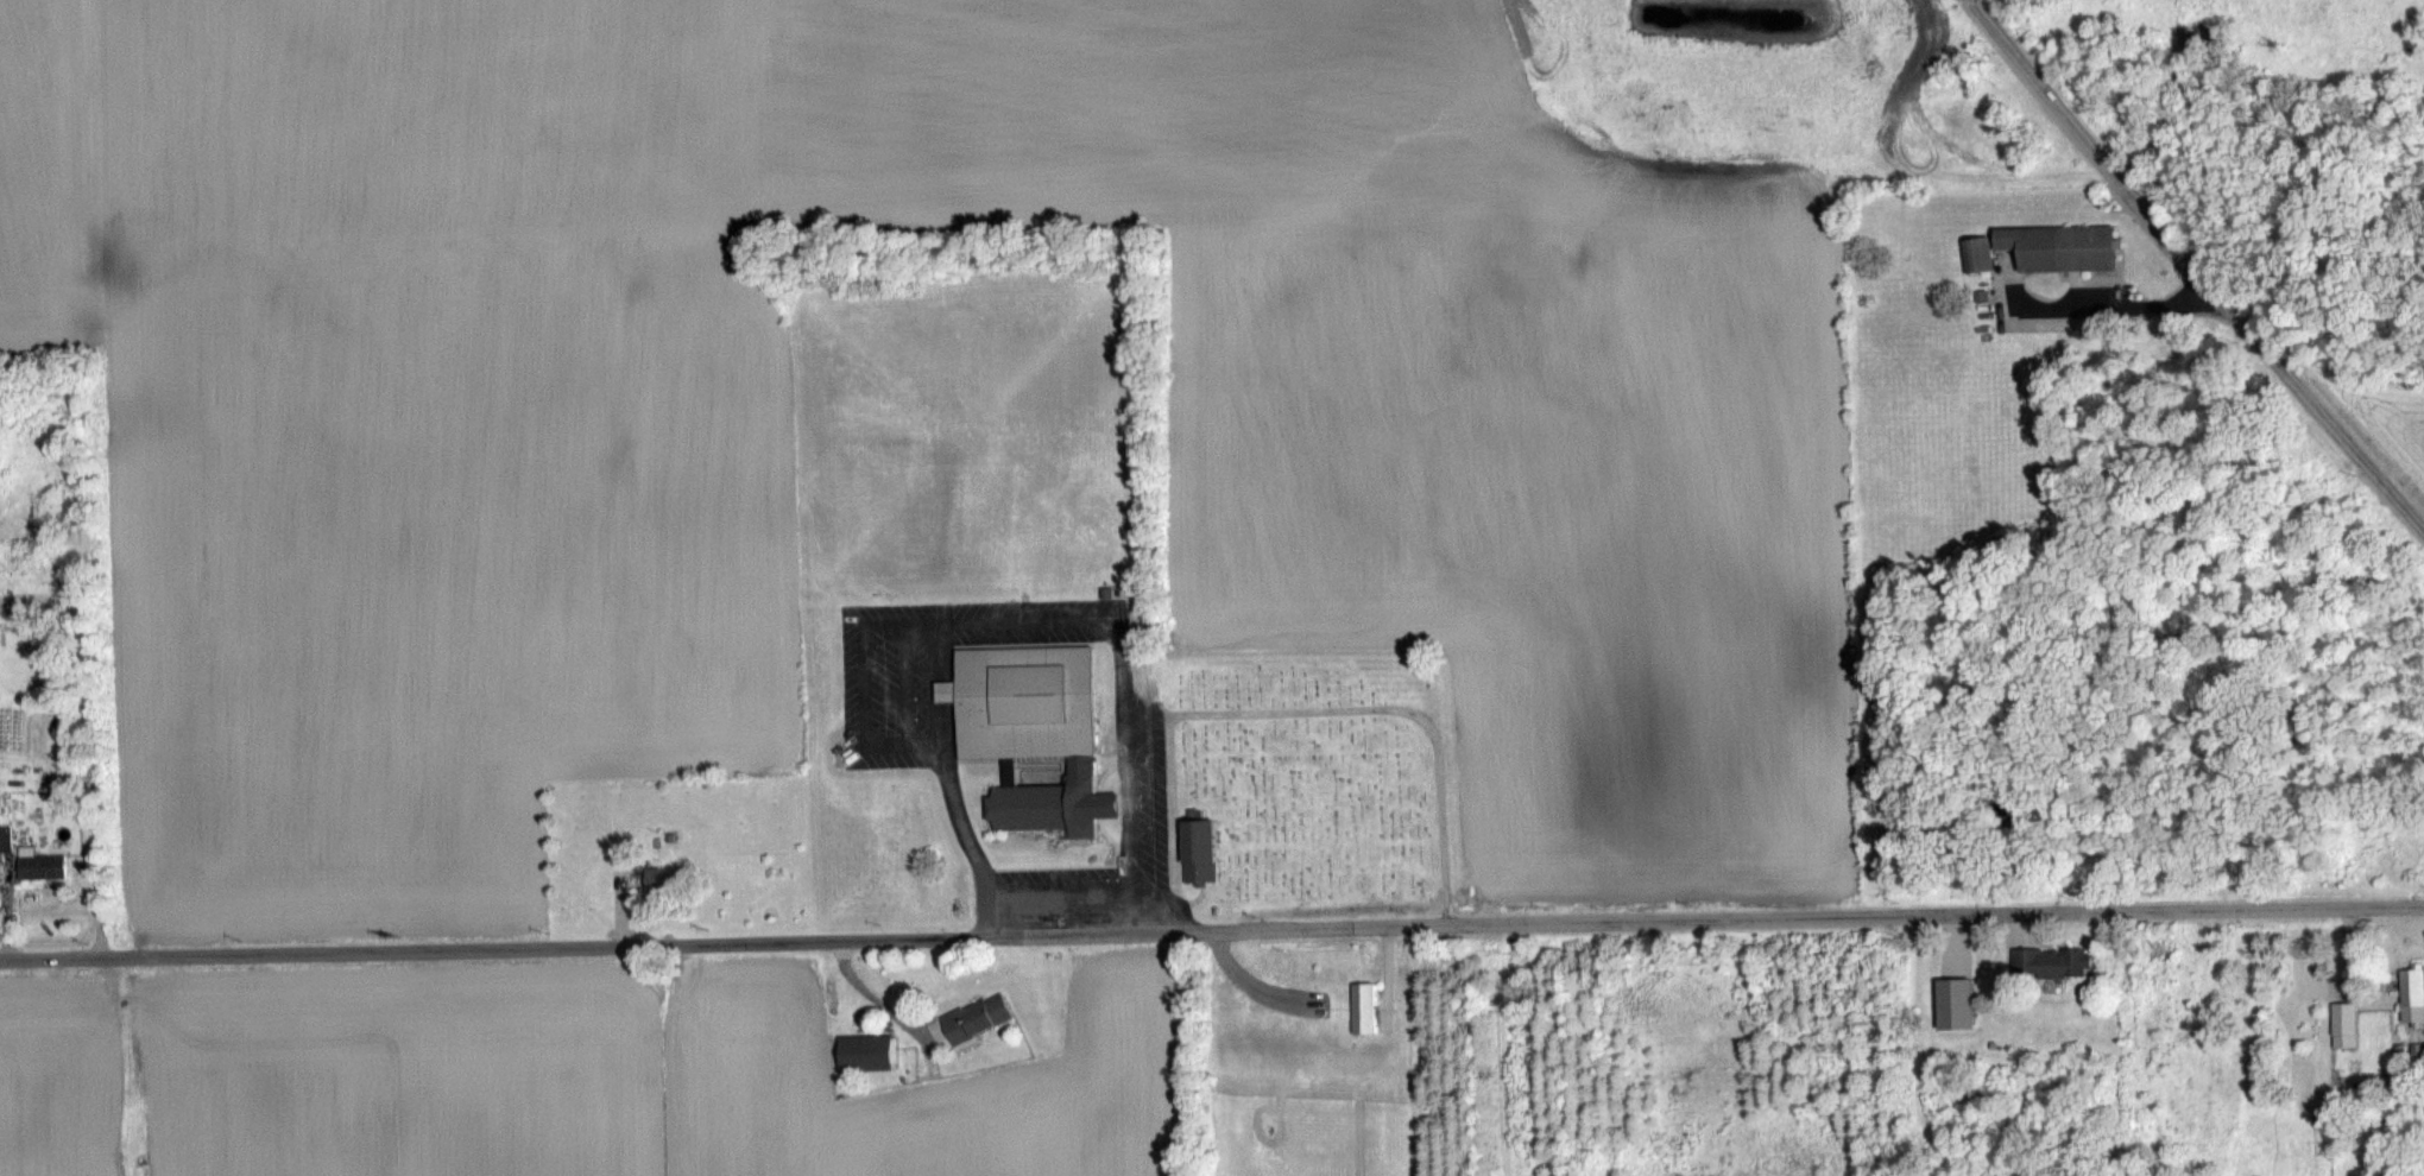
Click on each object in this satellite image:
building: (2066, 246)
building: (1981, 254)
road: (2192, 267)
building: (1034, 731)
building: (1204, 852)
building: (43, 865)
building: (667, 879)
road: (1211, 930)
building: (2054, 961)
building: (2412, 992)
building: (1961, 1003)
building: (1370, 1007)
building: (979, 1017)
building: (2343, 1022)
building: (870, 1052)

